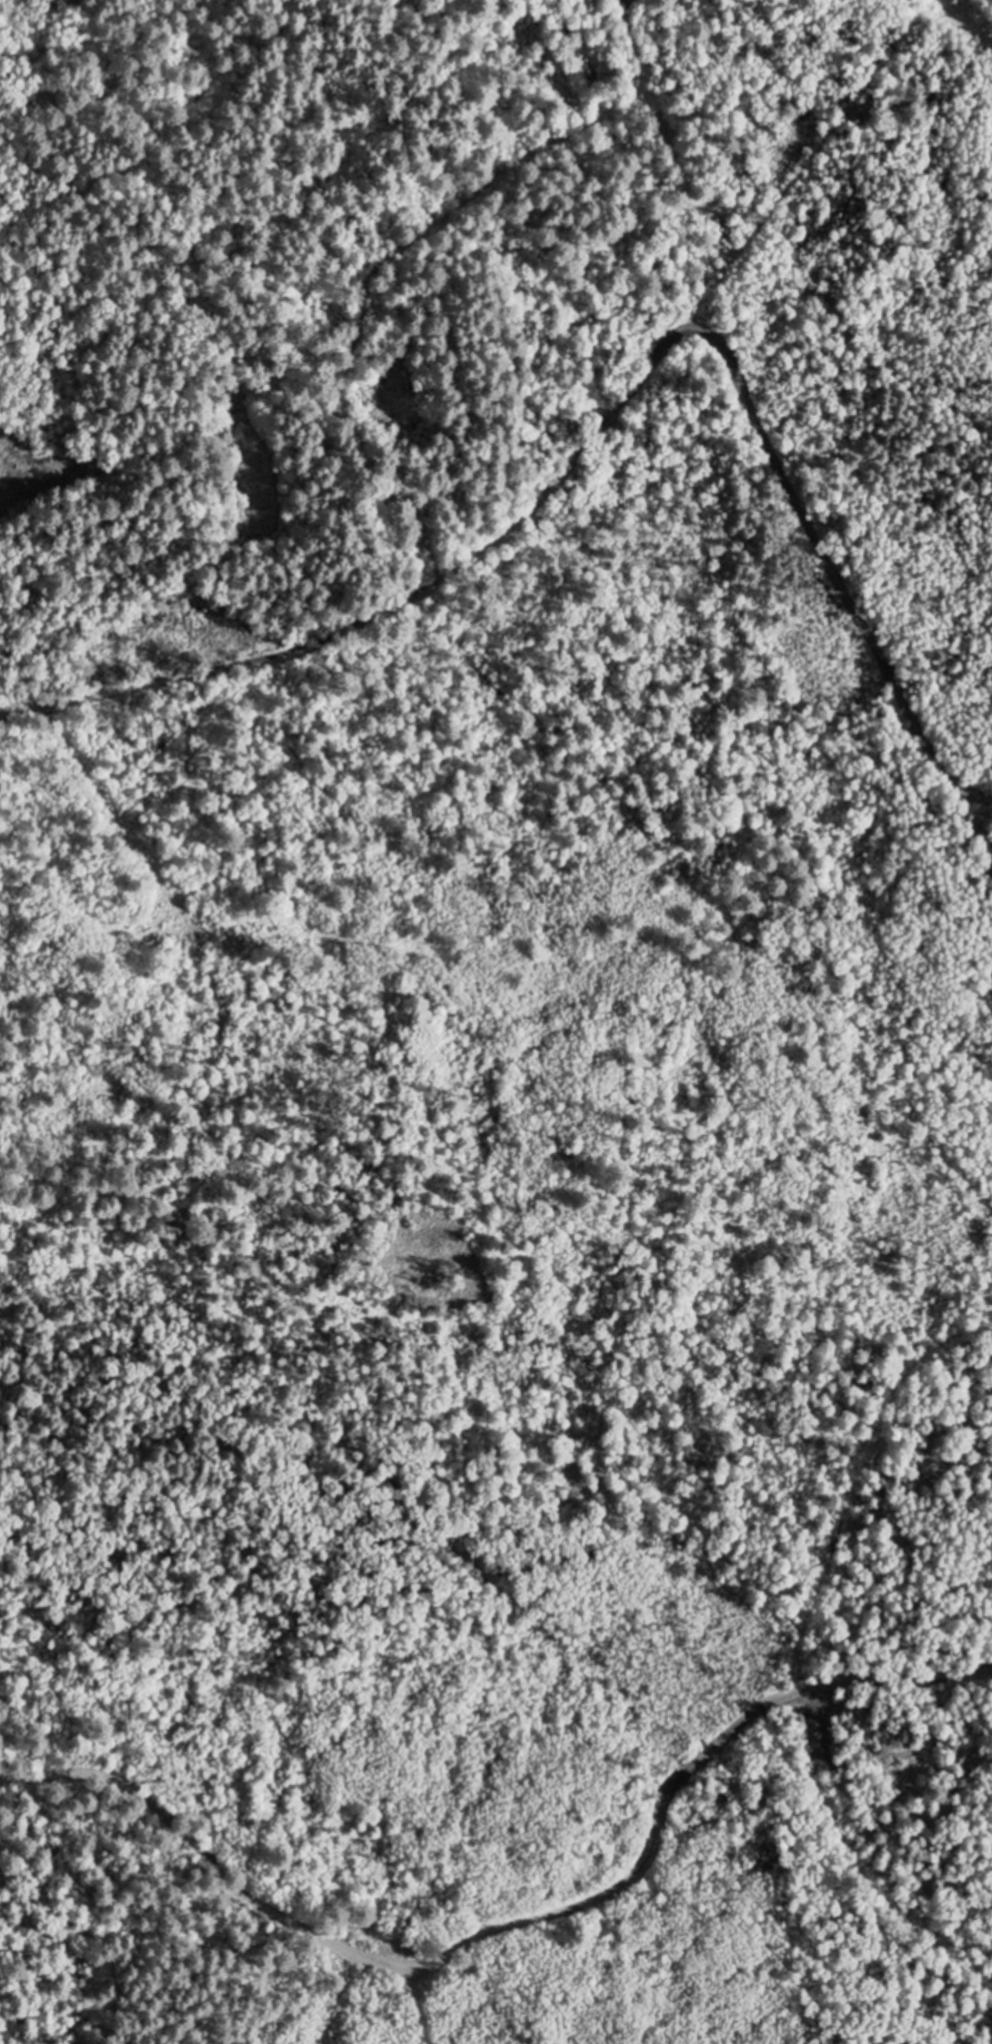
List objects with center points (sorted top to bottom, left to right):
road: (809, 160)
road: (609, 418)
road: (112, 808)
road: (514, 1923)

